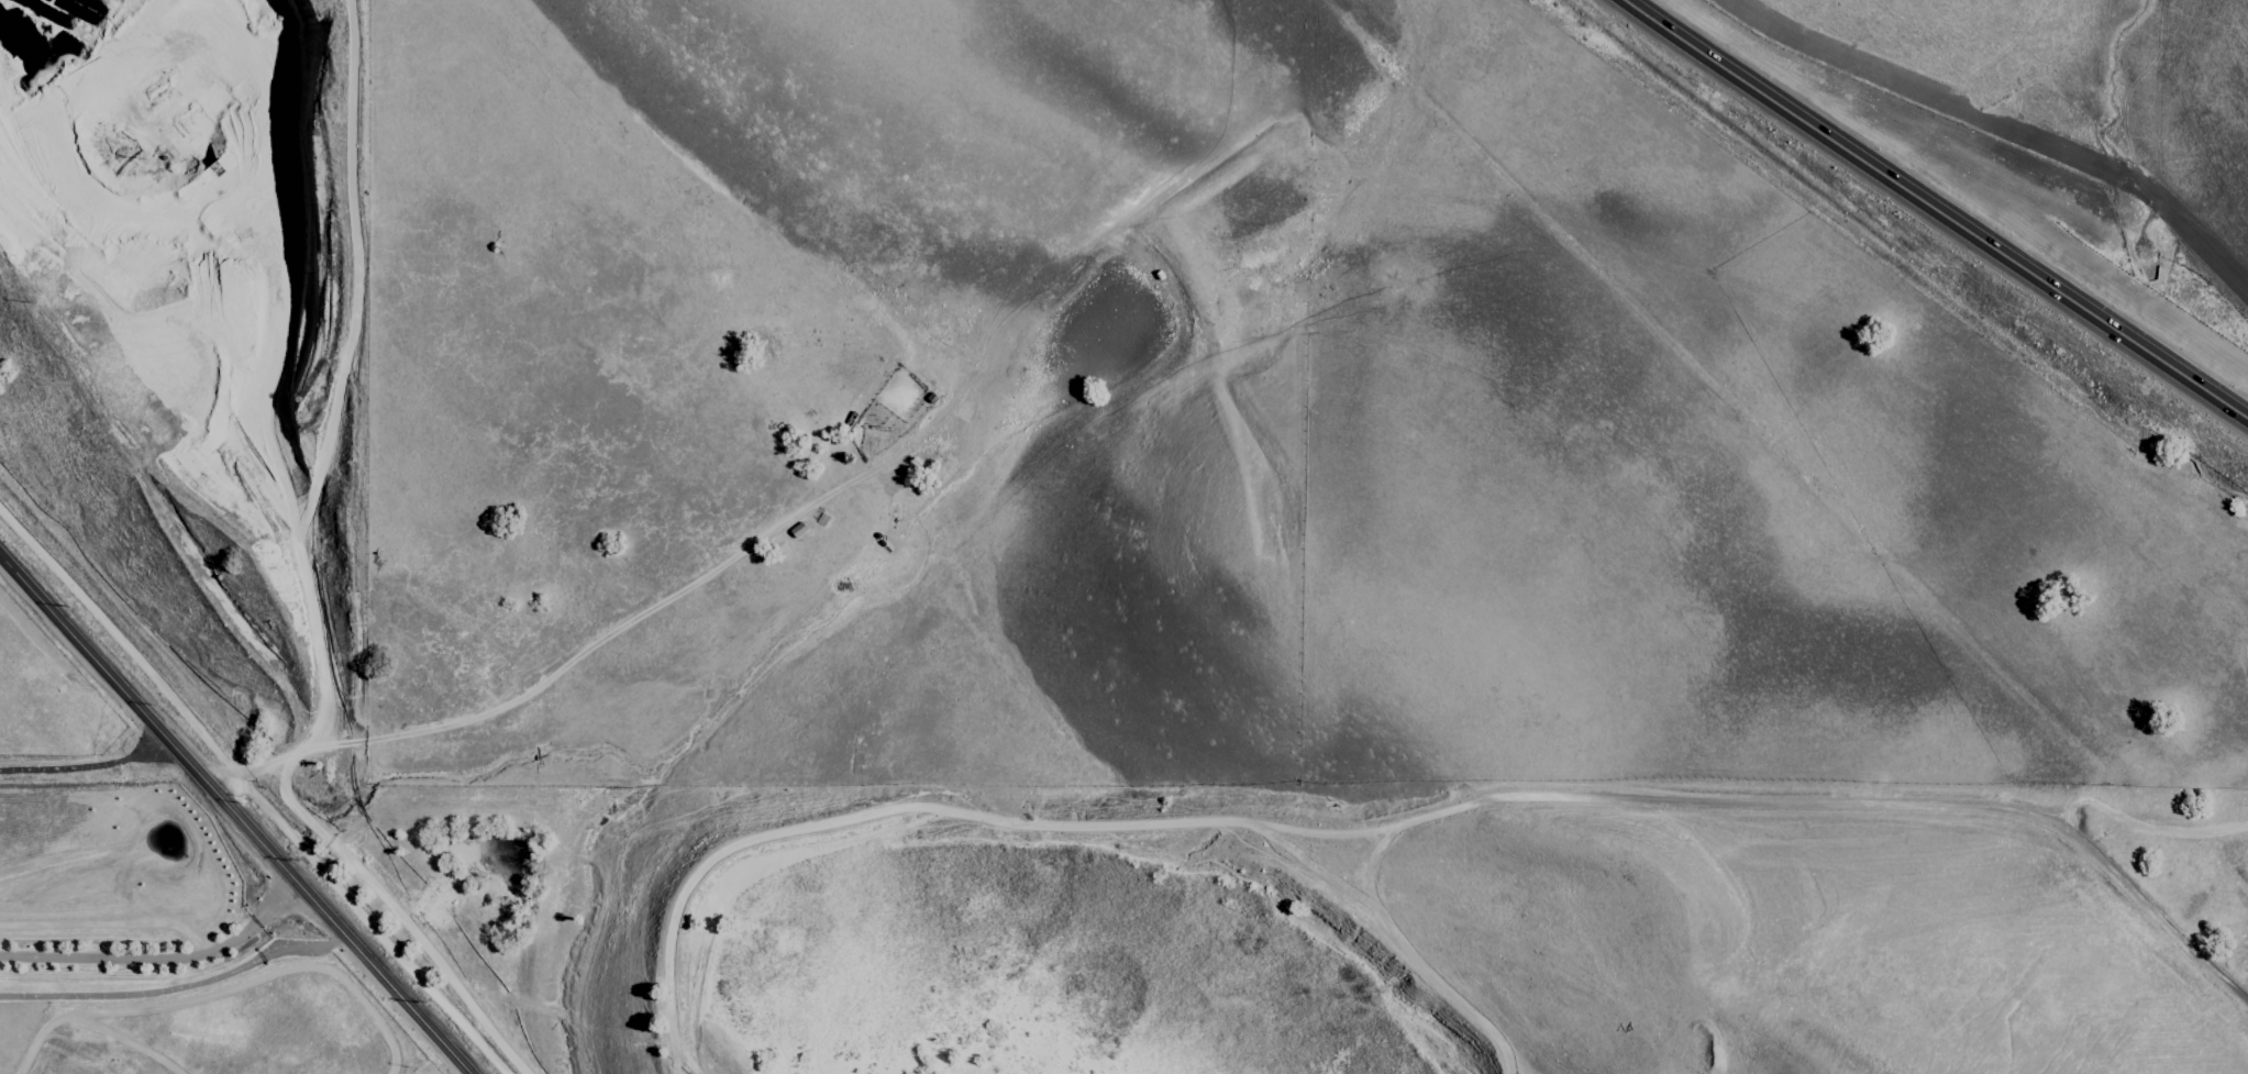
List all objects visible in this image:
quarry: (155, 204)
road: (1934, 210)
road: (328, 430)
crop: (1348, 443)
road: (85, 765)
road: (234, 820)
road: (162, 959)
road: (176, 986)

